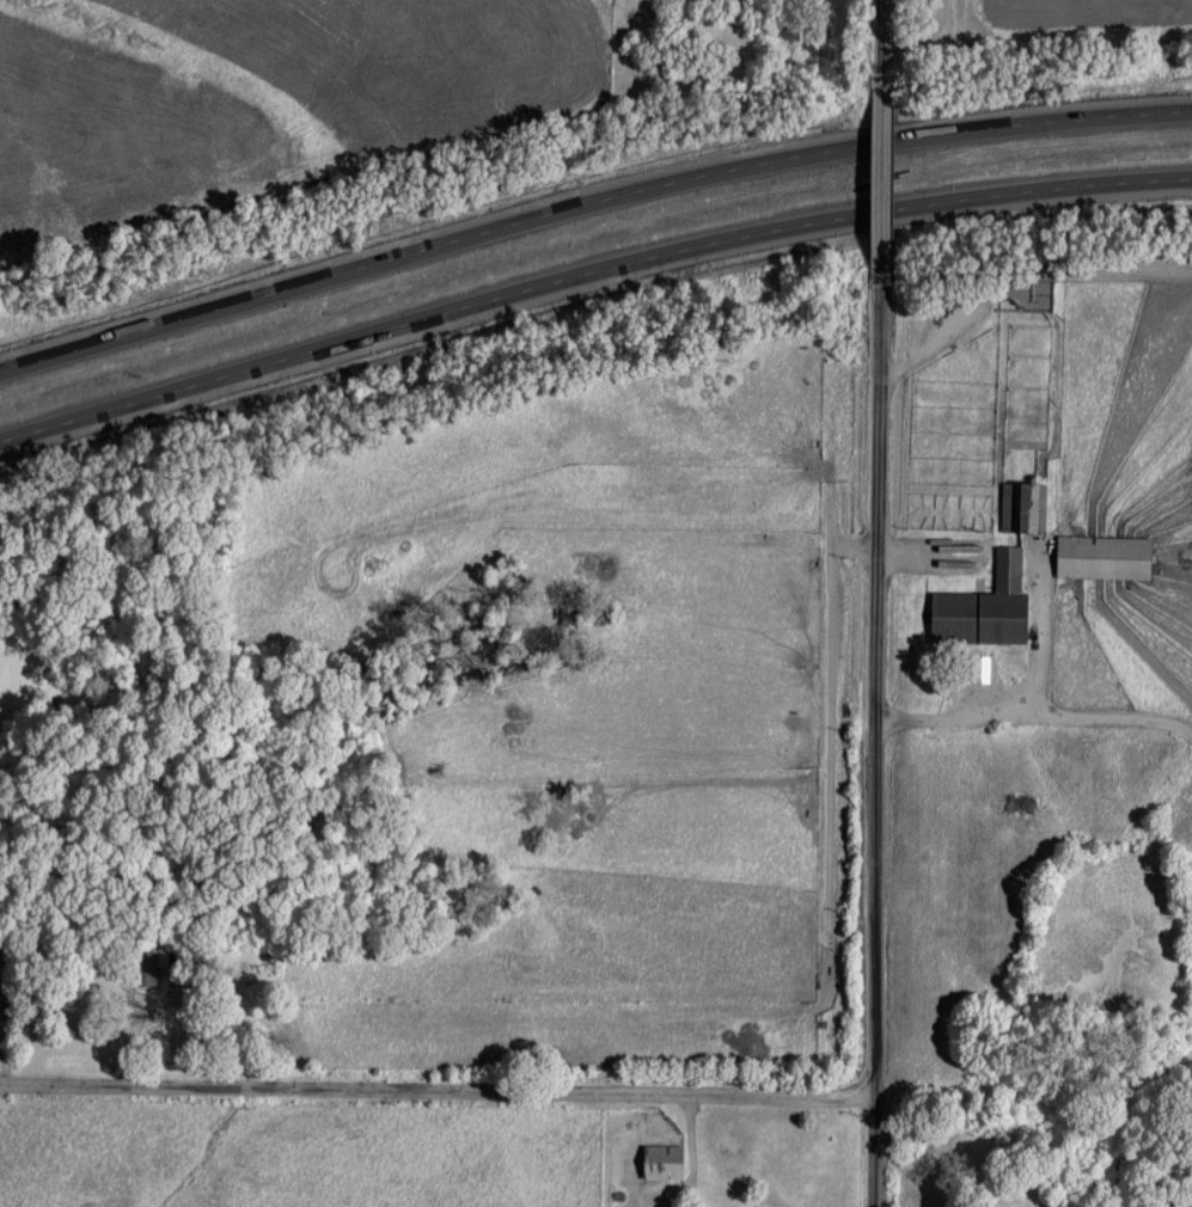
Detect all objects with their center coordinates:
road: (885, 42)
road: (884, 183)
road: (588, 209)
road: (589, 282)
building: (1022, 506)
building: (1102, 556)
building: (984, 606)
road: (878, 745)
building: (146, 974)
road: (438, 1085)
building: (662, 1160)

